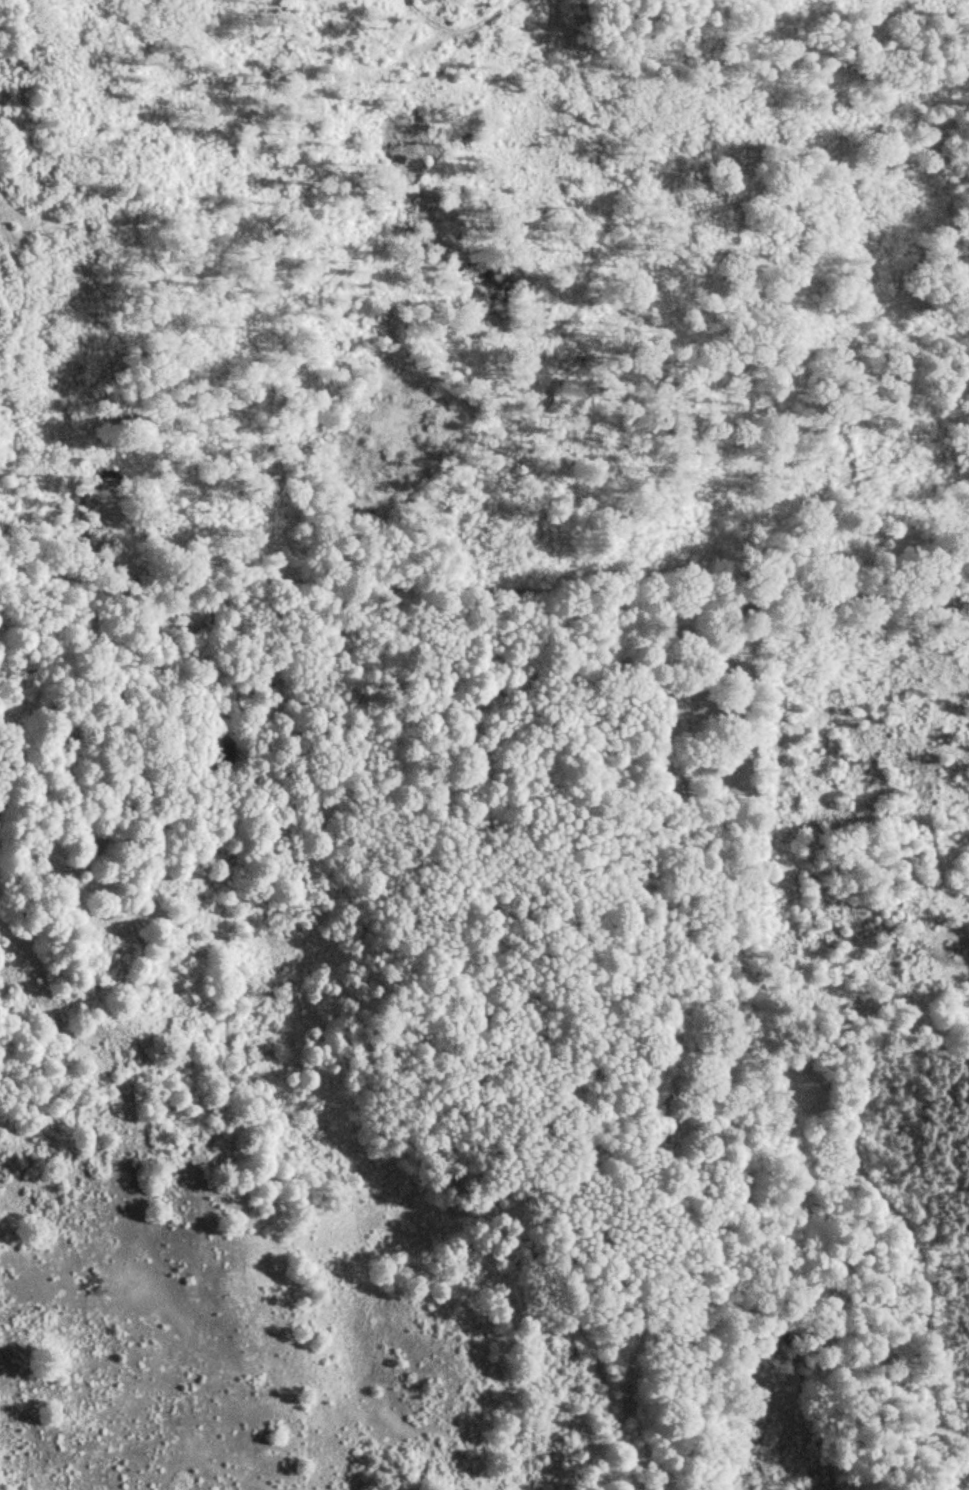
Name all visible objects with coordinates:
road: (484, 585)
park: (594, 702)

